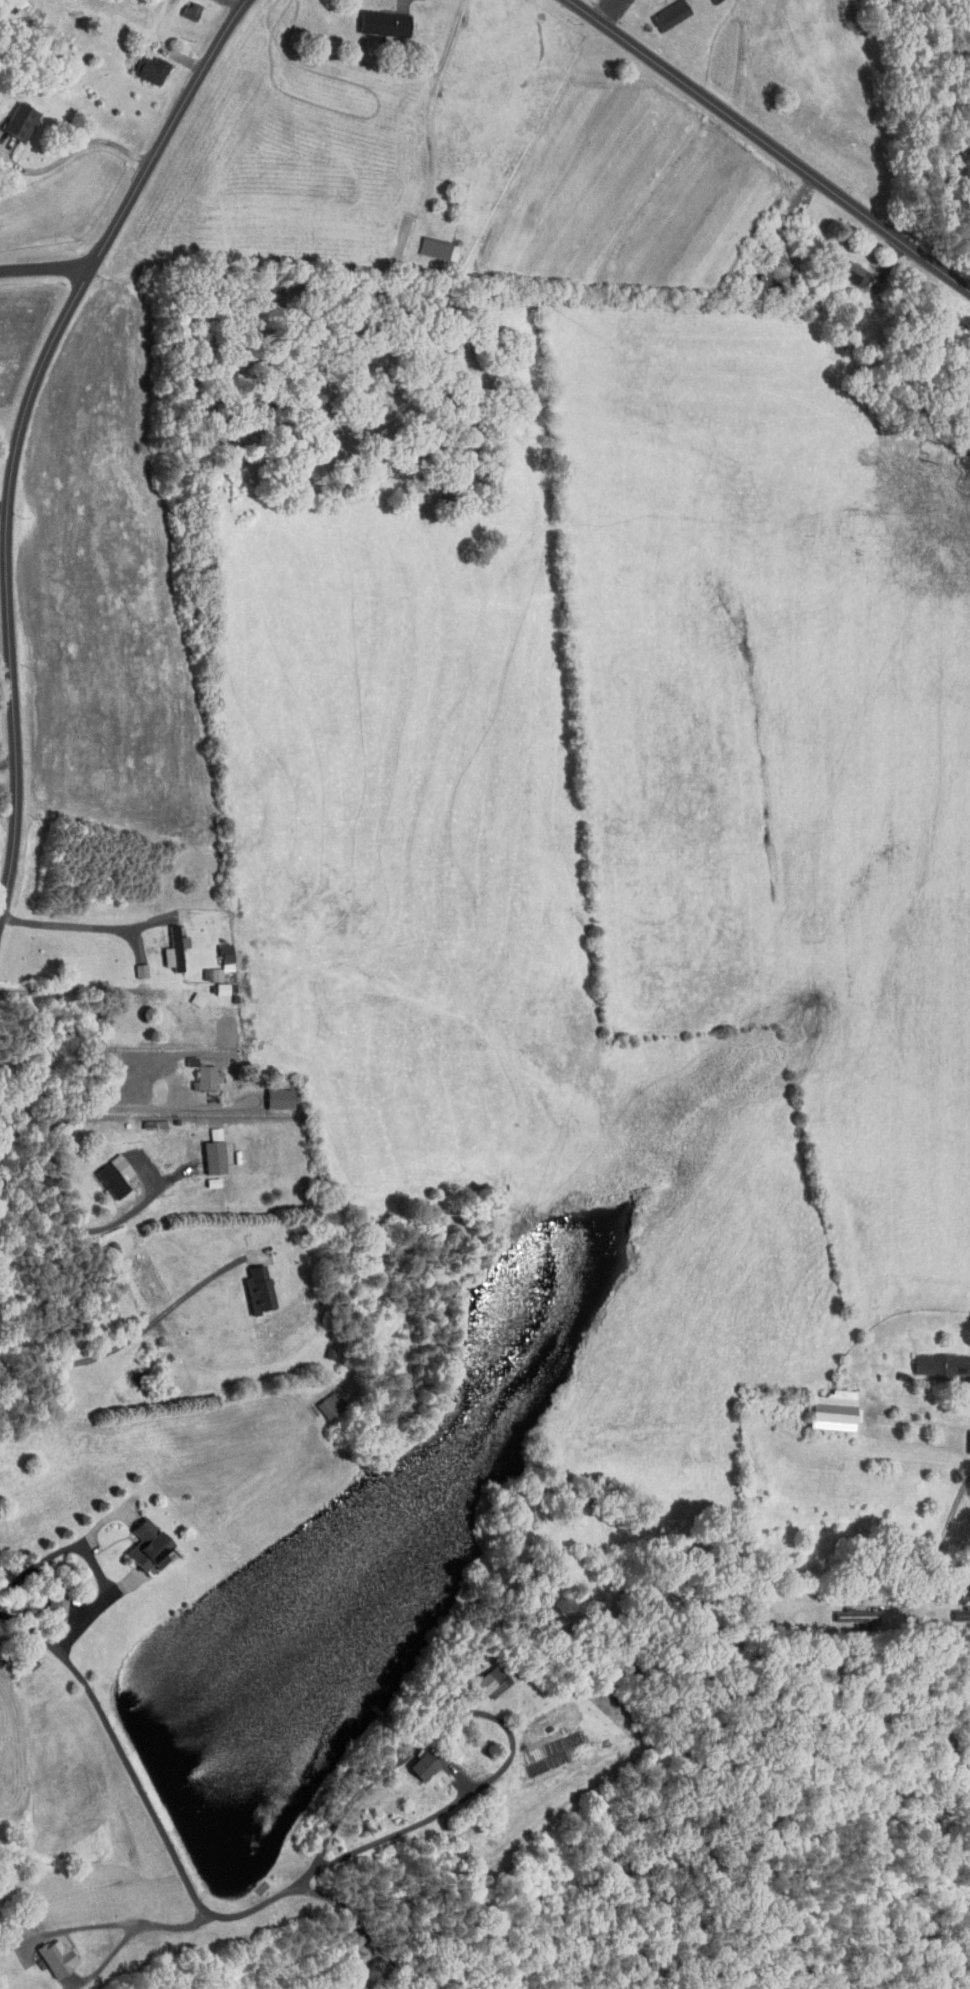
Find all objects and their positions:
building: (660, 11)
building: (374, 18)
building: (140, 64)
building: (11, 116)
road: (770, 145)
road: (76, 151)
road: (951, 194)
building: (428, 243)
building: (842, 267)
building: (764, 269)
road: (45, 271)
road: (19, 430)
road: (8, 761)
road: (8, 805)
road: (79, 926)
building: (164, 943)
building: (210, 958)
building: (131, 964)
building: (212, 983)
road: (66, 990)
building: (193, 1068)
building: (269, 1092)
road: (113, 1104)
building: (204, 1147)
building: (105, 1170)
building: (202, 1176)
road: (77, 1232)
building: (248, 1284)
road: (134, 1336)
building: (931, 1360)
building: (319, 1400)
building: (824, 1405)
building: (964, 1436)
road: (945, 1473)
building: (137, 1542)
road: (938, 1549)
road: (91, 1558)
building: (47, 1600)
building: (956, 1608)
building: (846, 1611)
building: (481, 1677)
building: (414, 1760)
road: (187, 1879)
road: (143, 1922)
road: (359, 1922)
building: (46, 1952)
road: (108, 1959)
road: (396, 1968)
building: (349, 1987)

